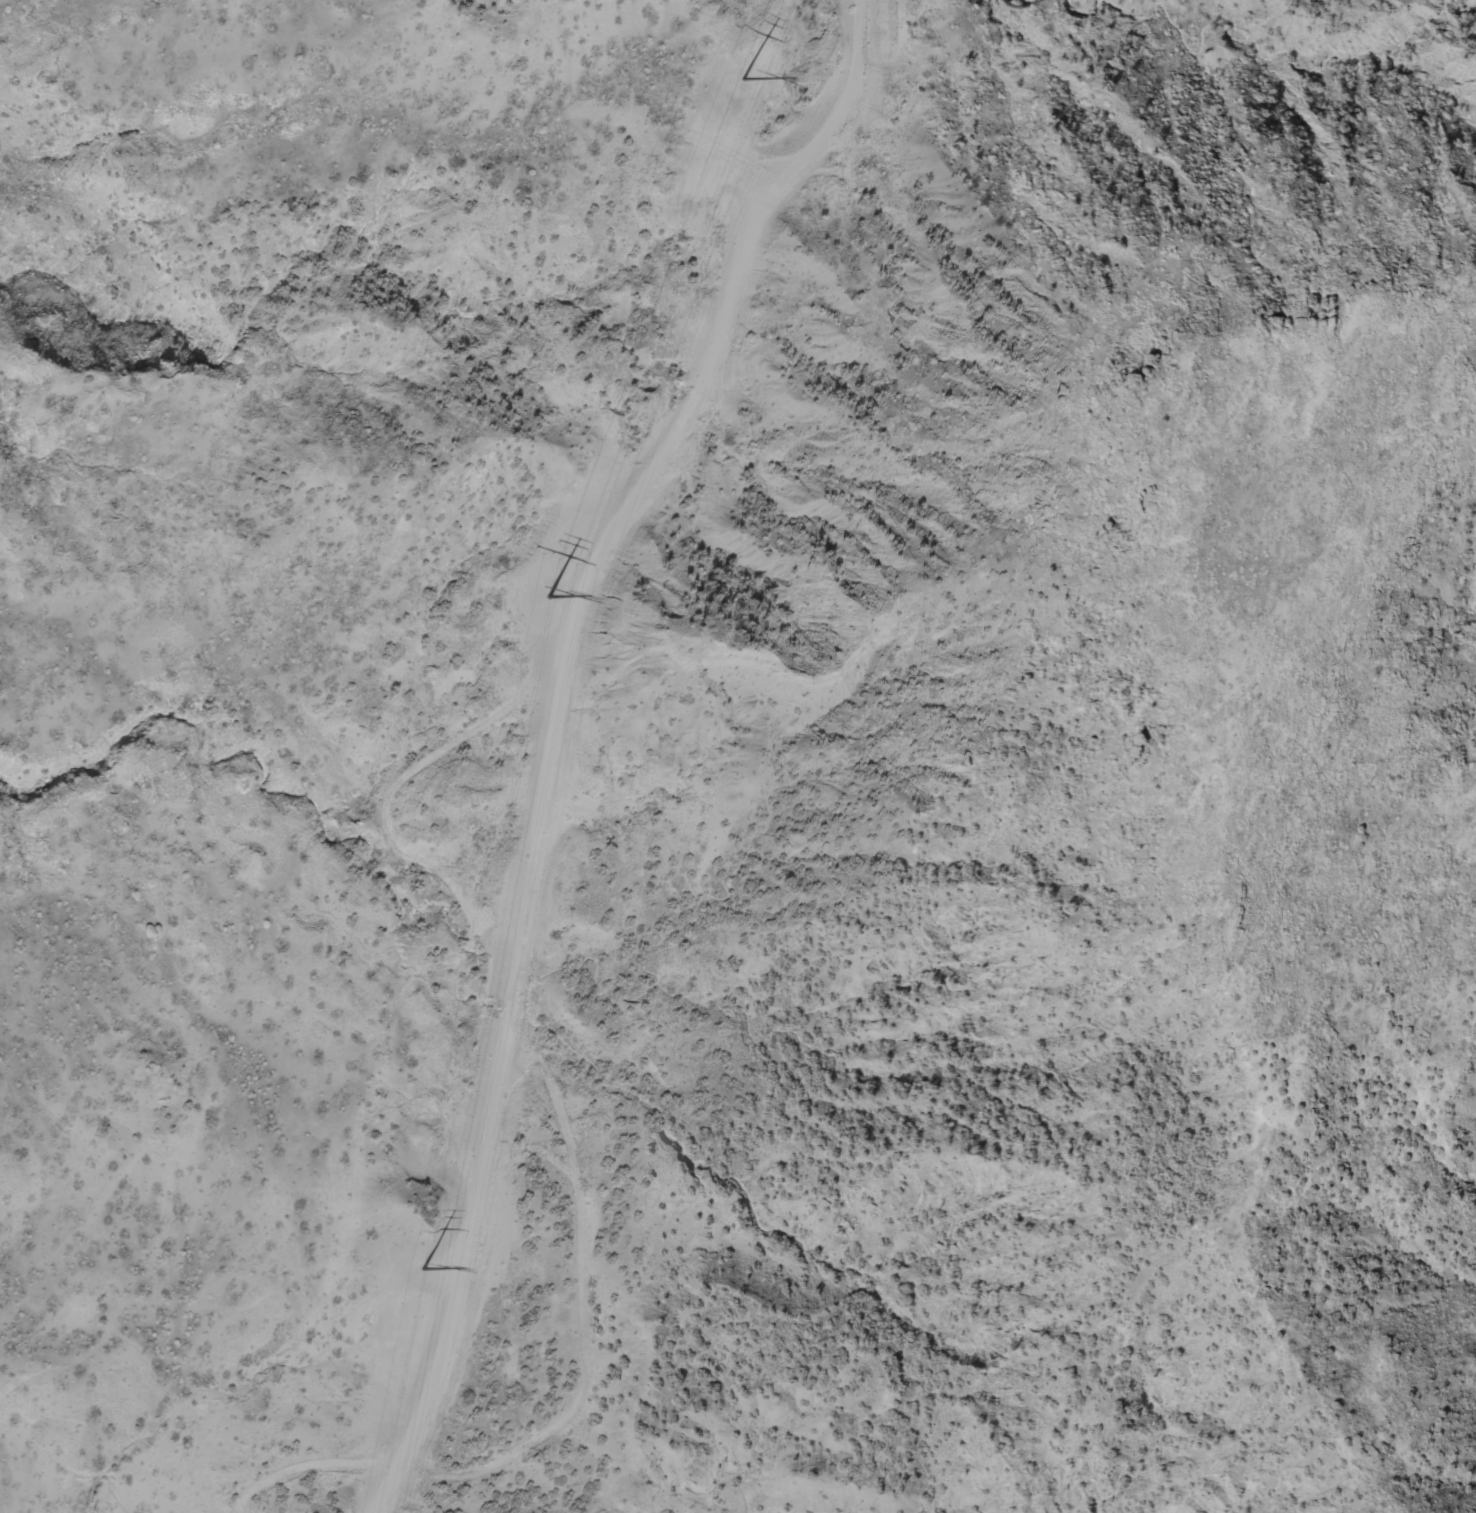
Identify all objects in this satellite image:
power tower: (741, 78)
power tower: (547, 596)
power tower: (420, 1269)

